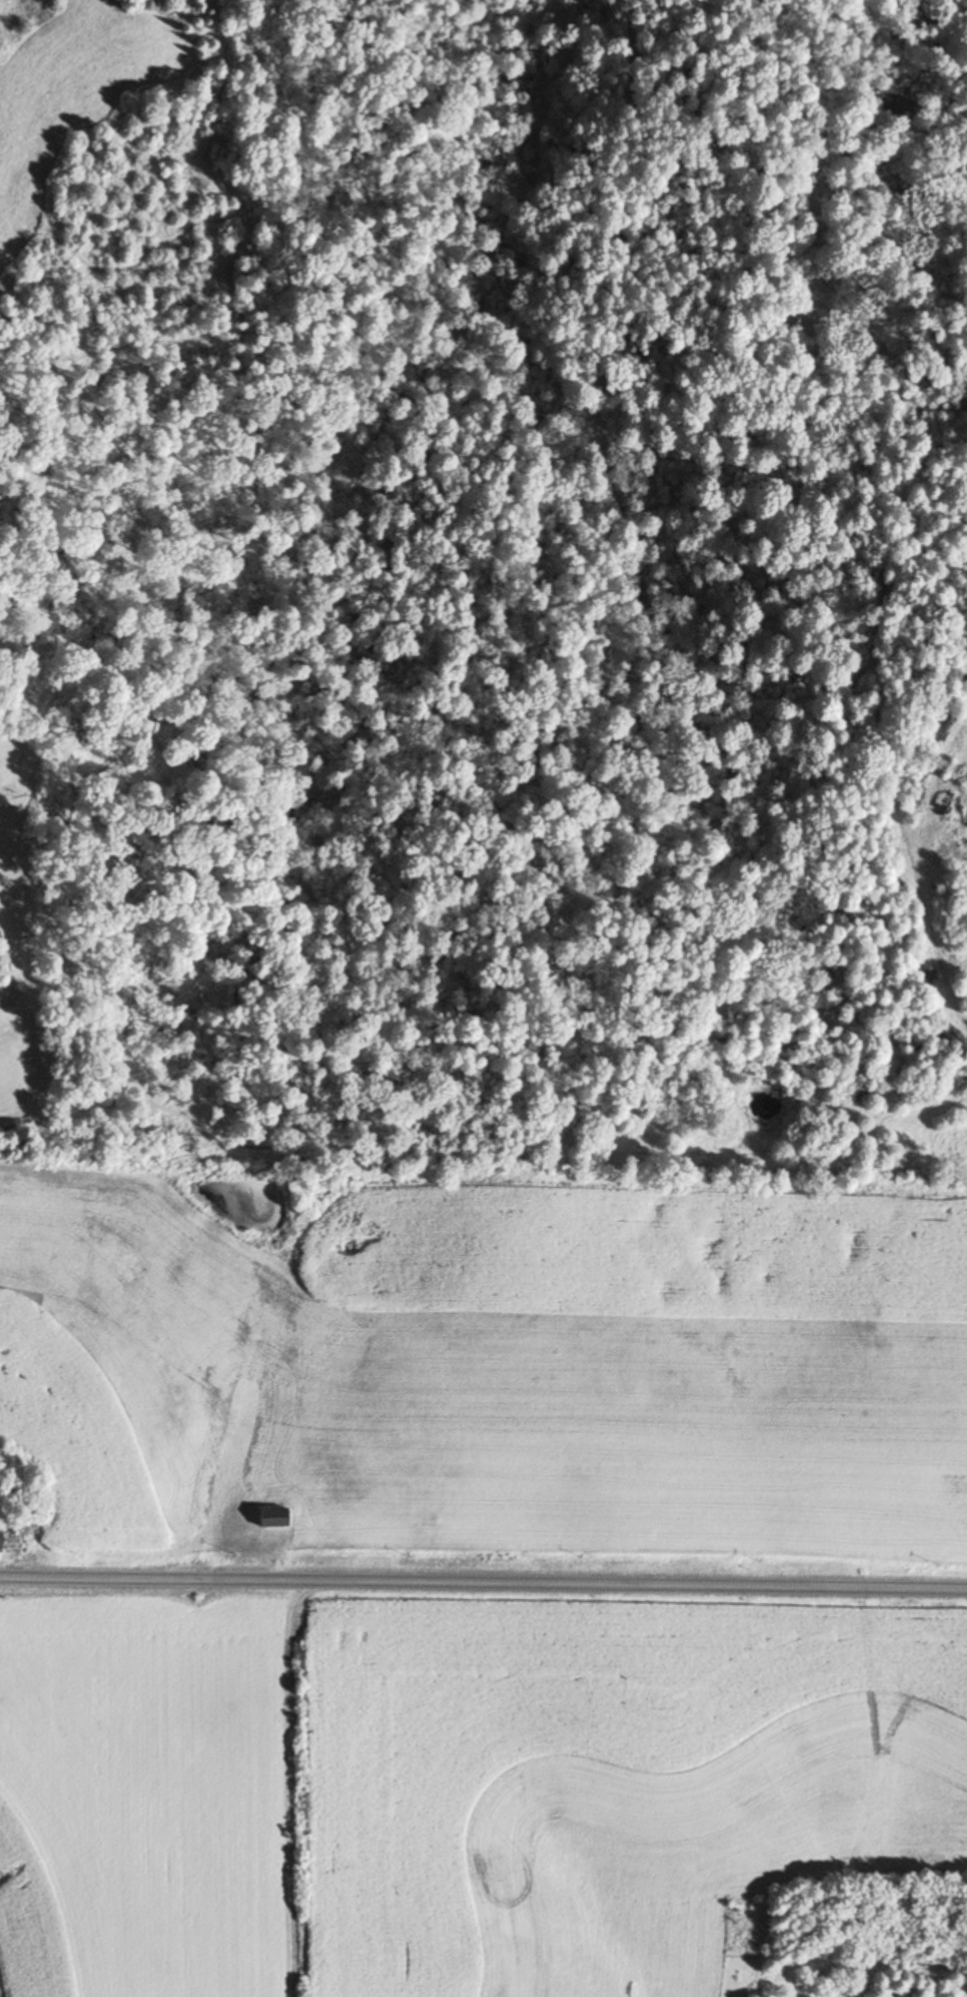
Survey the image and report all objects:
building: (274, 1518)
building: (3, 1541)
road: (483, 1578)

